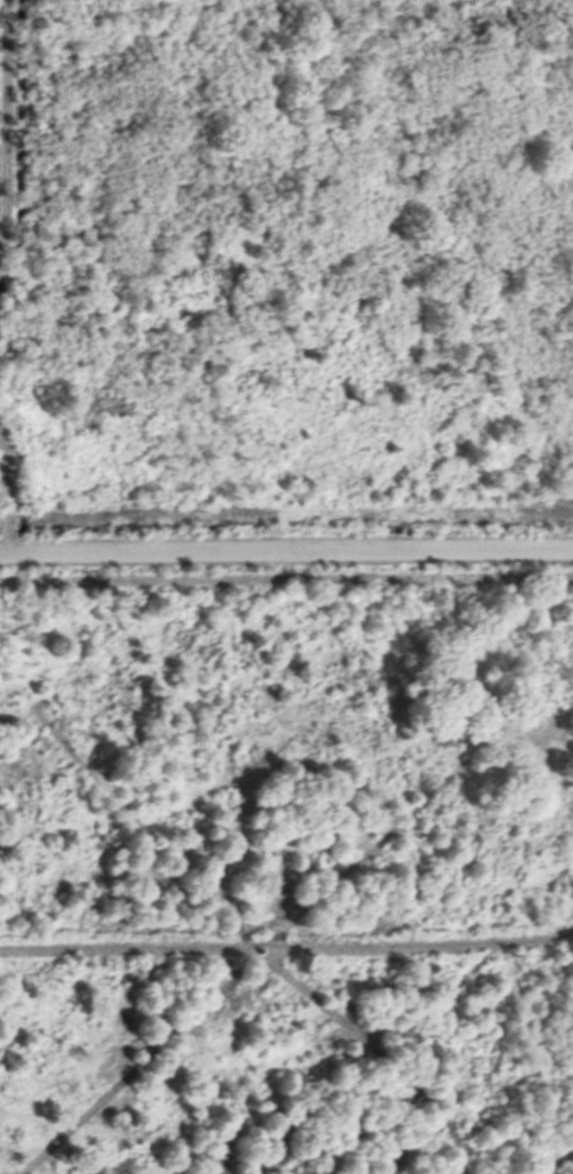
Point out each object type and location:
road: (286, 547)

